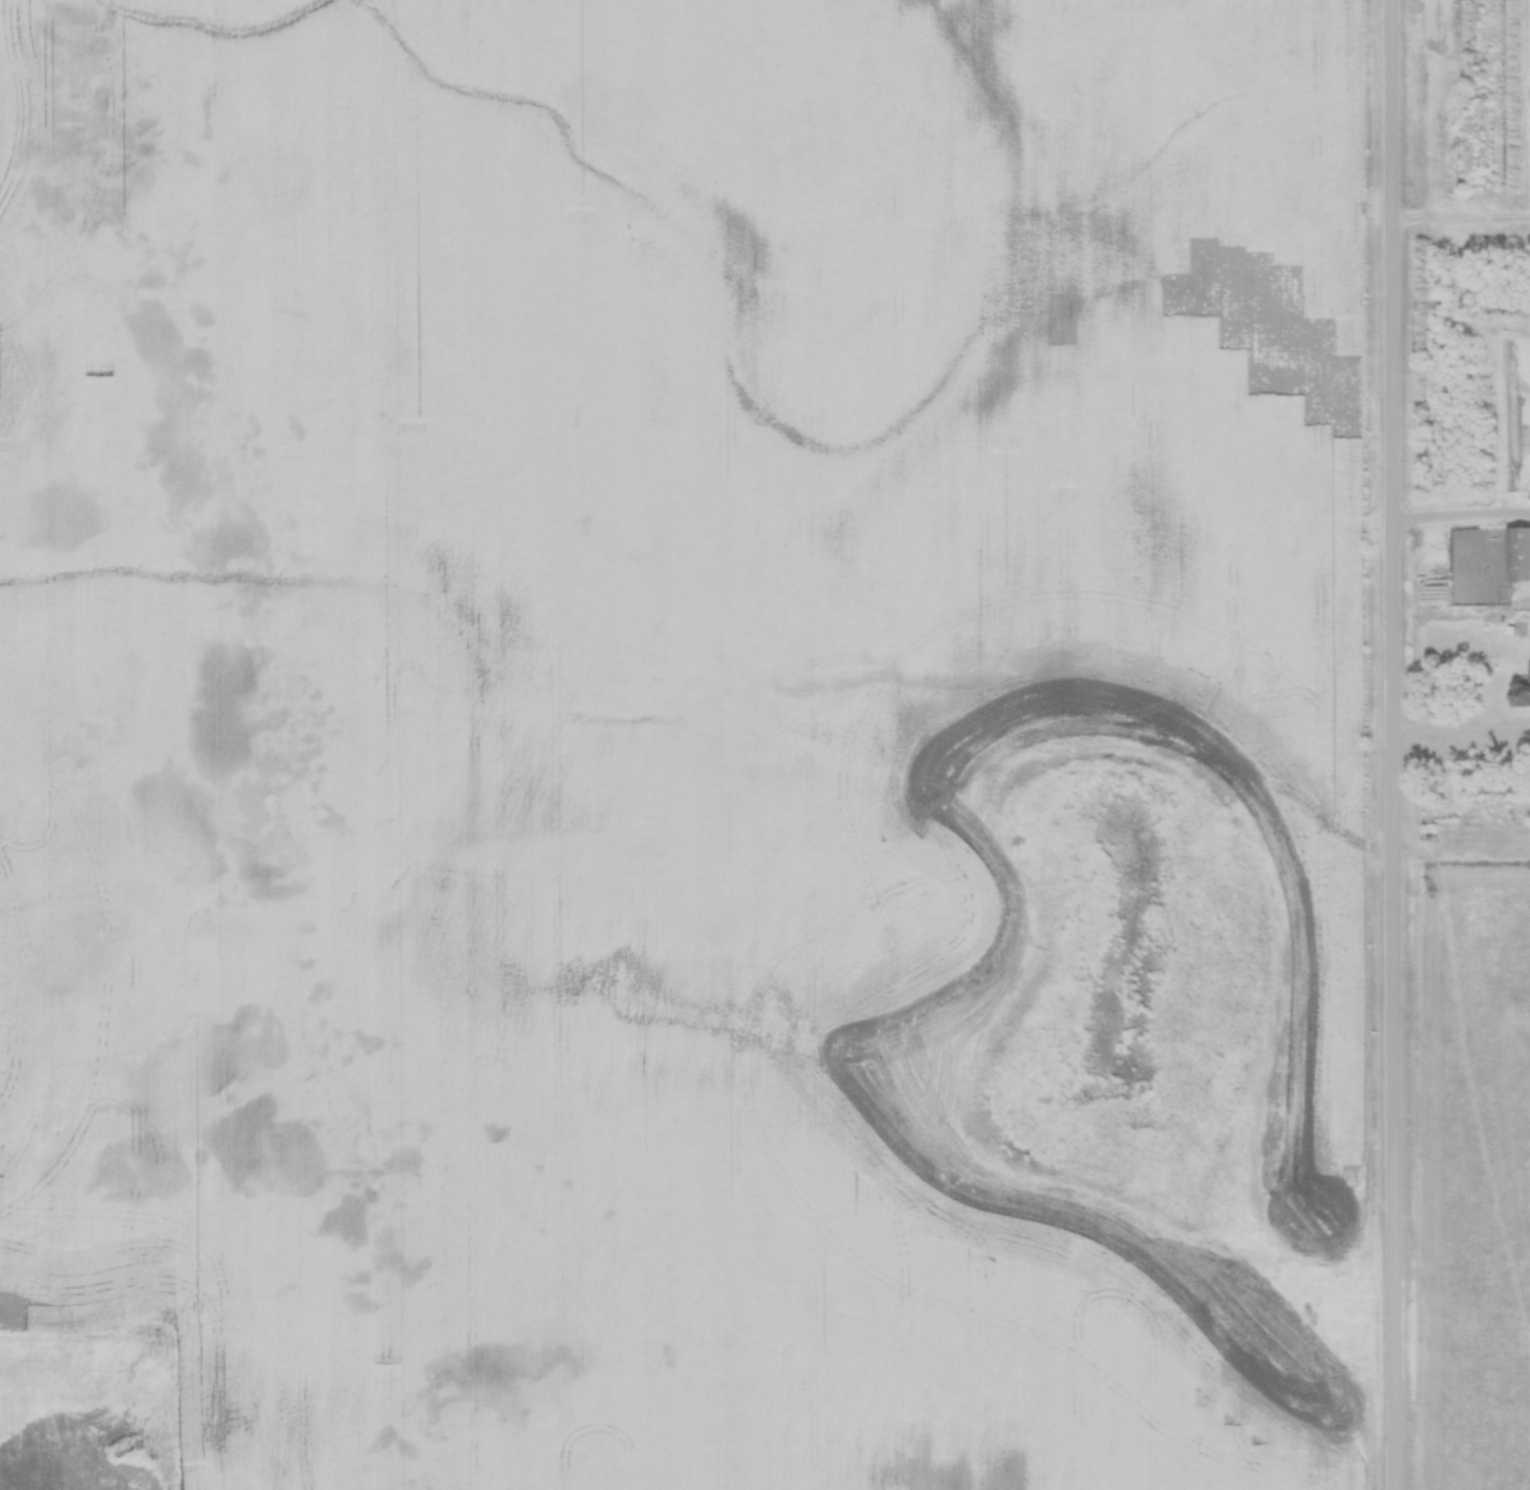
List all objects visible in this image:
road: (1462, 513)
building: (1518, 555)
building: (1521, 695)
road: (1463, 730)
road: (1397, 744)

